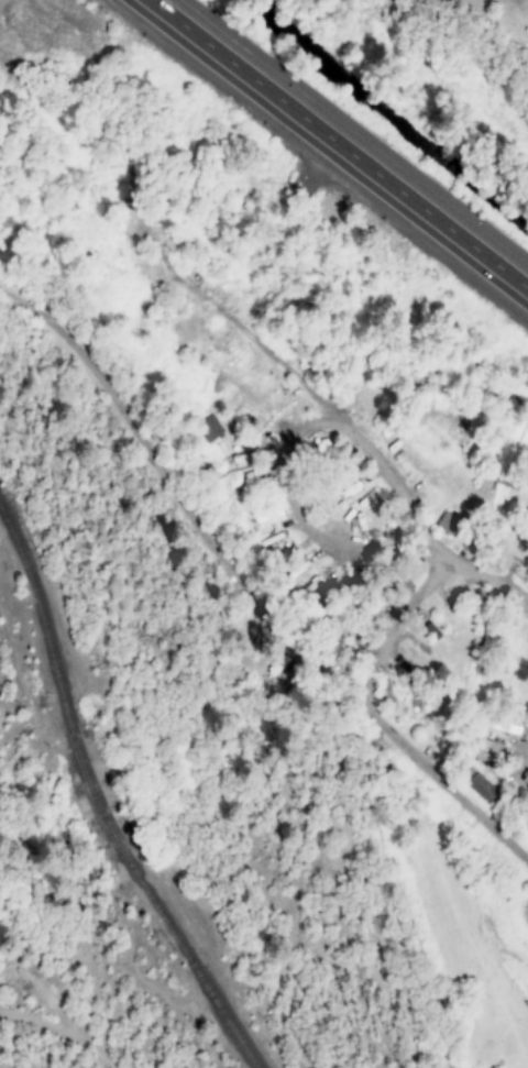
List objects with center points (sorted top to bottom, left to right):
river: (377, 114)
road: (356, 129)
road: (338, 144)
road: (201, 309)
building: (209, 430)
road: (280, 450)
building: (243, 476)
building: (267, 517)
building: (448, 525)
road: (481, 579)
railway: (46, 610)
road: (375, 727)
building: (485, 752)
building: (480, 788)
railway: (116, 812)
road: (22, 975)
railway: (206, 976)
road: (56, 1045)

